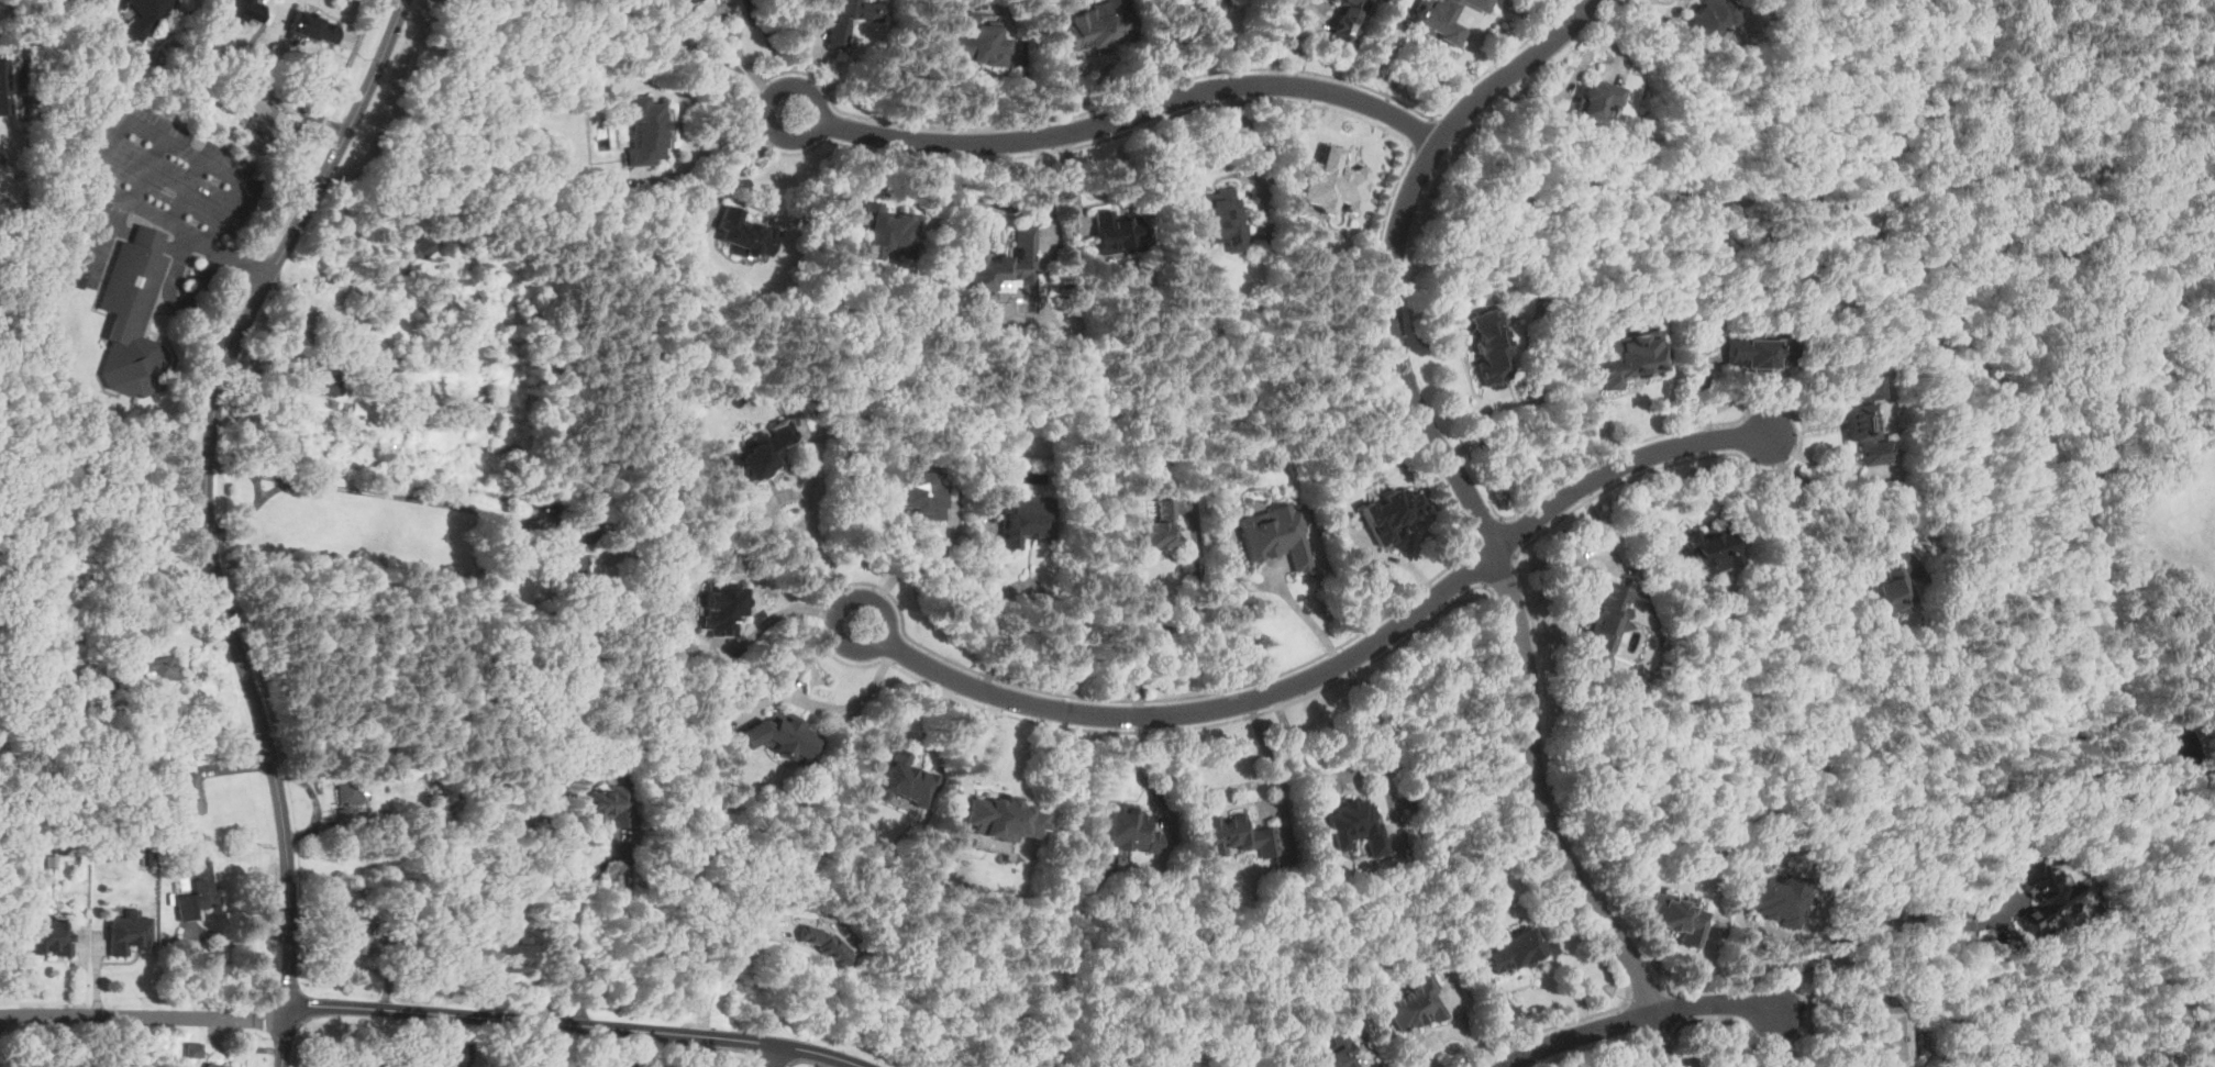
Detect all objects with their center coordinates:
building: (14, 0)
building: (690, 0)
building: (118, 2)
building: (1481, 3)
road: (1318, 7)
building: (243, 8)
road: (1282, 12)
building: (145, 16)
building: (1705, 18)
building: (1353, 20)
road: (1324, 21)
building: (1443, 21)
building: (311, 25)
building: (1094, 25)
building: (837, 35)
building: (976, 42)
road: (730, 46)
road: (1276, 56)
road: (1504, 59)
road: (1574, 69)
building: (4, 86)
road: (396, 86)
road: (755, 95)
building: (1593, 102)
road: (817, 110)
road: (1131, 114)
building: (266, 116)
building: (645, 129)
road: (1424, 134)
road: (1248, 135)
street lamp: (139, 138)
road: (184, 153)
building: (2, 156)
parking lot: (175, 164)
road: (737, 169)
road: (148, 173)
street lamp: (117, 179)
street lamp: (217, 179)
building: (1336, 182)
road: (190, 193)
building: (1219, 216)
street lamp: (195, 221)
road: (182, 227)
building: (1117, 231)
building: (746, 233)
building: (888, 233)
road: (119, 236)
building: (8, 237)
road: (108, 241)
parking lot: (96, 244)
building: (424, 246)
building: (1004, 258)
road: (247, 262)
building: (461, 267)
building: (78, 279)
road: (97, 298)
road: (179, 303)
building: (131, 315)
road: (189, 320)
road: (145, 333)
building: (1488, 345)
road: (1967, 346)
building: (1757, 351)
road: (1382, 355)
building: (1627, 355)
building: (322, 386)
building: (1867, 388)
street lamp: (110, 394)
road: (1598, 415)
road: (1801, 431)
building: (1858, 434)
road: (812, 448)
building: (762, 449)
road: (277, 485)
road: (209, 490)
road: (397, 494)
building: (918, 494)
road: (1470, 504)
road: (1839, 507)
road: (250, 508)
road: (1494, 511)
building: (1391, 512)
building: (1022, 516)
building: (588, 524)
building: (1159, 525)
road: (778, 530)
building: (1276, 534)
building: (1704, 548)
road: (1883, 557)
road: (921, 558)
building: (572, 565)
road: (820, 565)
road: (1571, 565)
road: (1486, 583)
building: (1893, 591)
road: (1044, 599)
road: (1527, 601)
building: (722, 607)
road: (841, 609)
road: (824, 610)
road: (777, 613)
road: (1305, 614)
road: (1178, 615)
building: (1604, 623)
road: (1340, 660)
building: (162, 668)
road: (829, 705)
road: (908, 709)
building: (780, 735)
road: (978, 748)
road: (1270, 754)
road: (1361, 771)
building: (899, 779)
building: (192, 792)
building: (348, 797)
road: (1525, 801)
building: (612, 803)
building: (1001, 818)
building: (1358, 824)
building: (1129, 831)
building: (1238, 833)
building: (199, 890)
building: (2045, 891)
building: (1777, 898)
road: (1875, 914)
building: (1676, 915)
road: (571, 925)
building: (129, 931)
building: (49, 935)
building: (357, 935)
building: (824, 943)
building: (1515, 948)
building: (510, 955)
road: (730, 965)
road: (1664, 989)
road: (1662, 996)
road: (1626, 1002)
building: (1415, 1003)
road: (1497, 1008)
road: (1808, 1008)
traffic signals: (287, 1012)
road: (144, 1014)
road: (304, 1015)
road: (1636, 1019)
road: (1629, 1020)
road: (577, 1023)
road: (1464, 1025)
road: (1551, 1029)
road: (1675, 1030)
road: (1718, 1034)
building: (1893, 1037)
road: (1633, 1038)
road: (2159, 1038)
road: (284, 1040)
road: (1837, 1040)
road: (1660, 1043)
road: (1780, 1043)
road: (302, 1045)
road: (1644, 1046)
building: (193, 1048)
road: (710, 1049)
road: (1584, 1049)
building: (1338, 1053)
building: (457, 1054)
road: (778, 1055)
road: (1647, 1056)
road: (776, 1057)
road: (757, 1060)
road: (1373, 1062)
road: (806, 1064)
building: (217, 1065)

